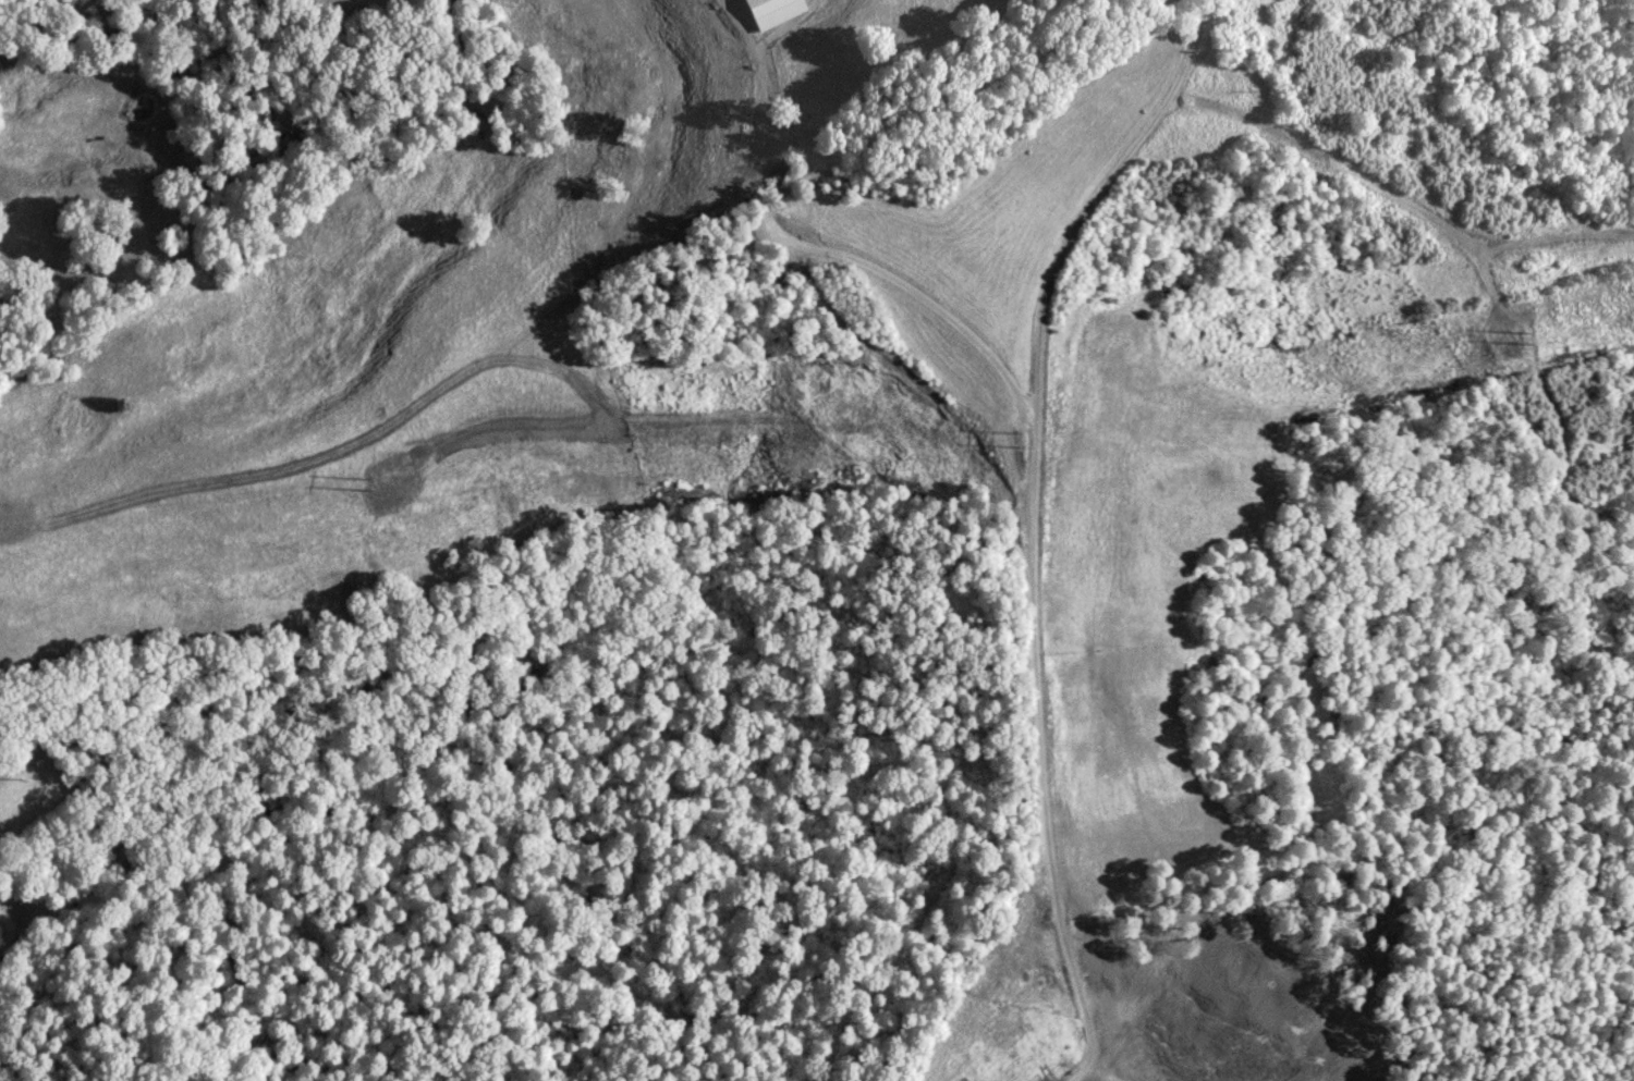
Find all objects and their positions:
road: (1031, 525)

